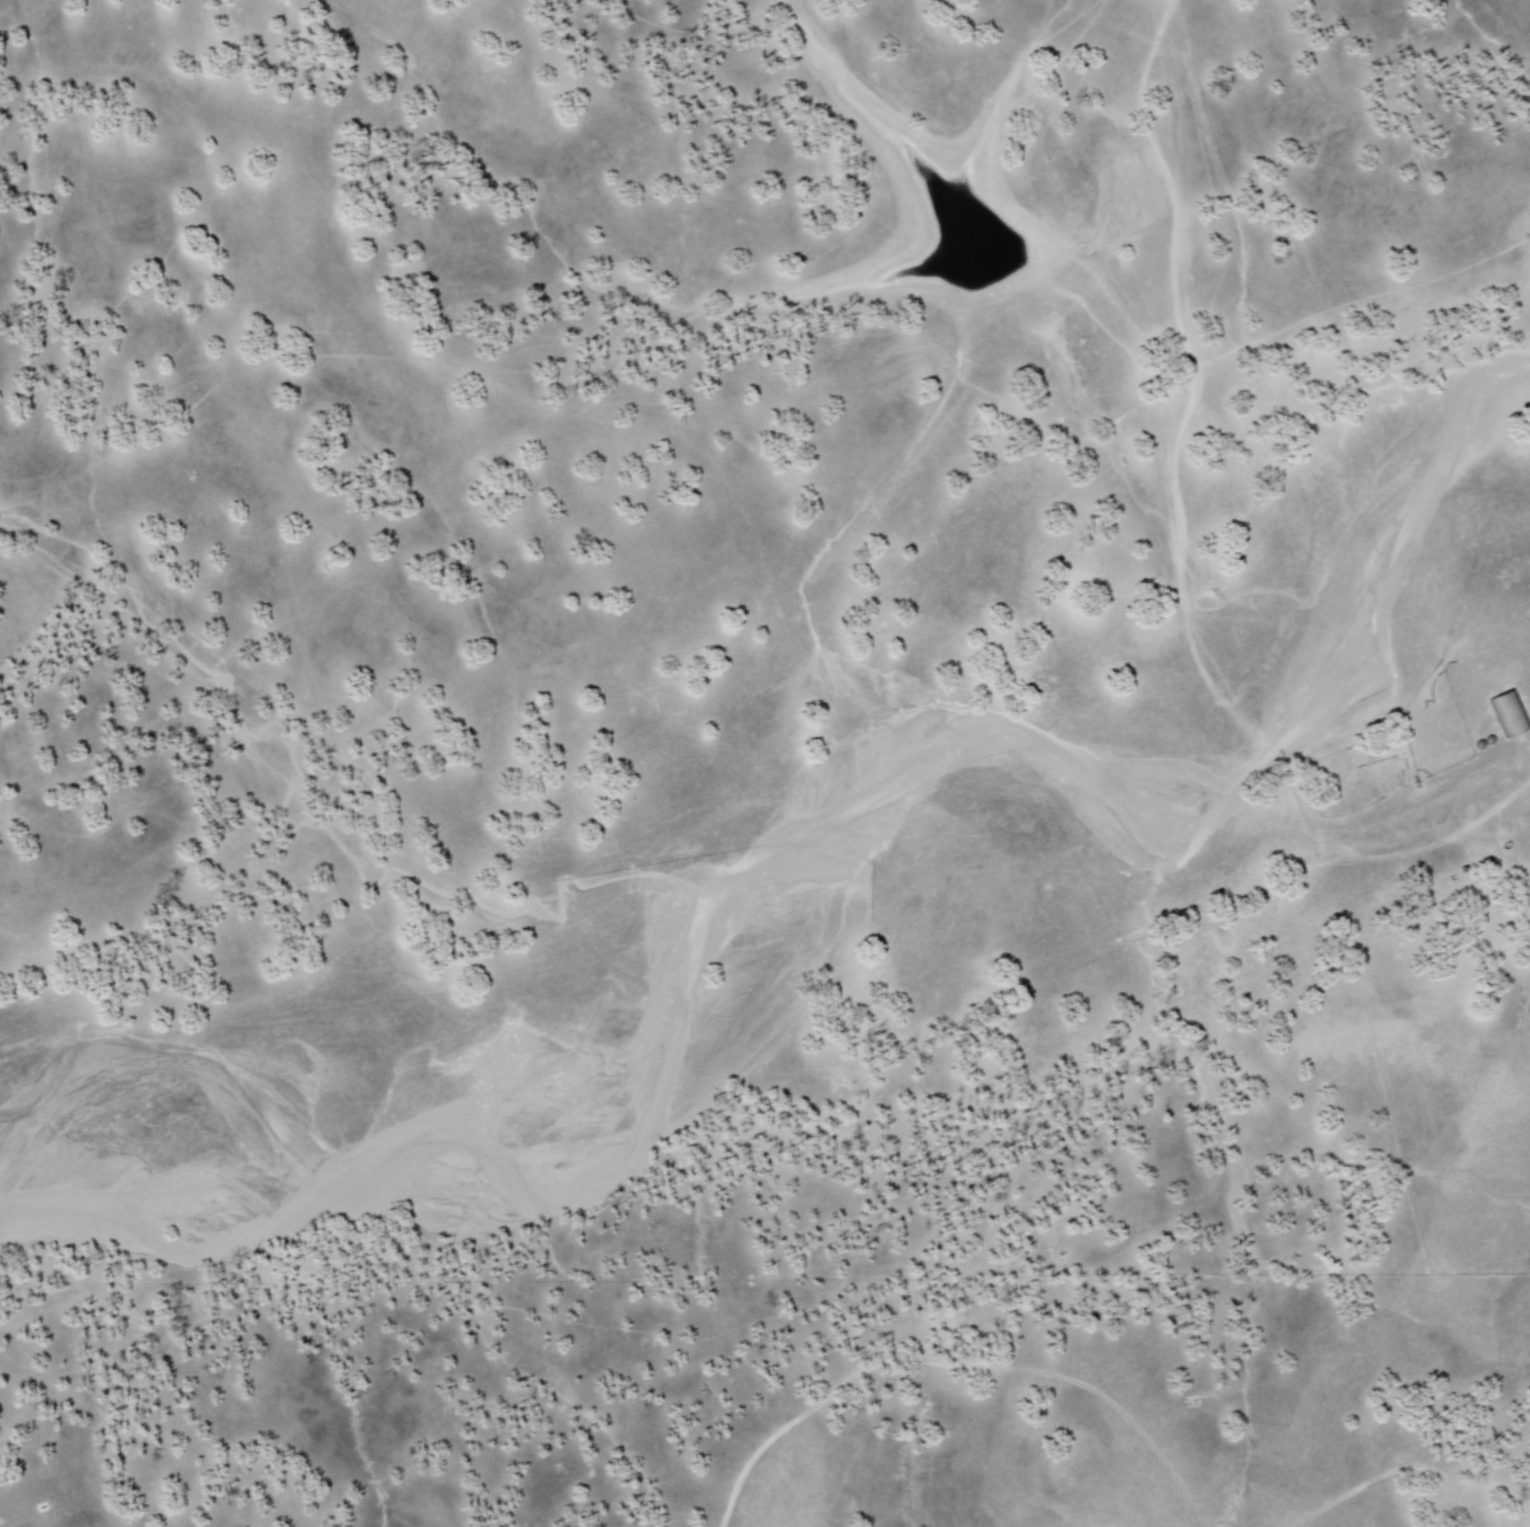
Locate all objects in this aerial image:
road: (1180, 546)
river: (828, 843)

